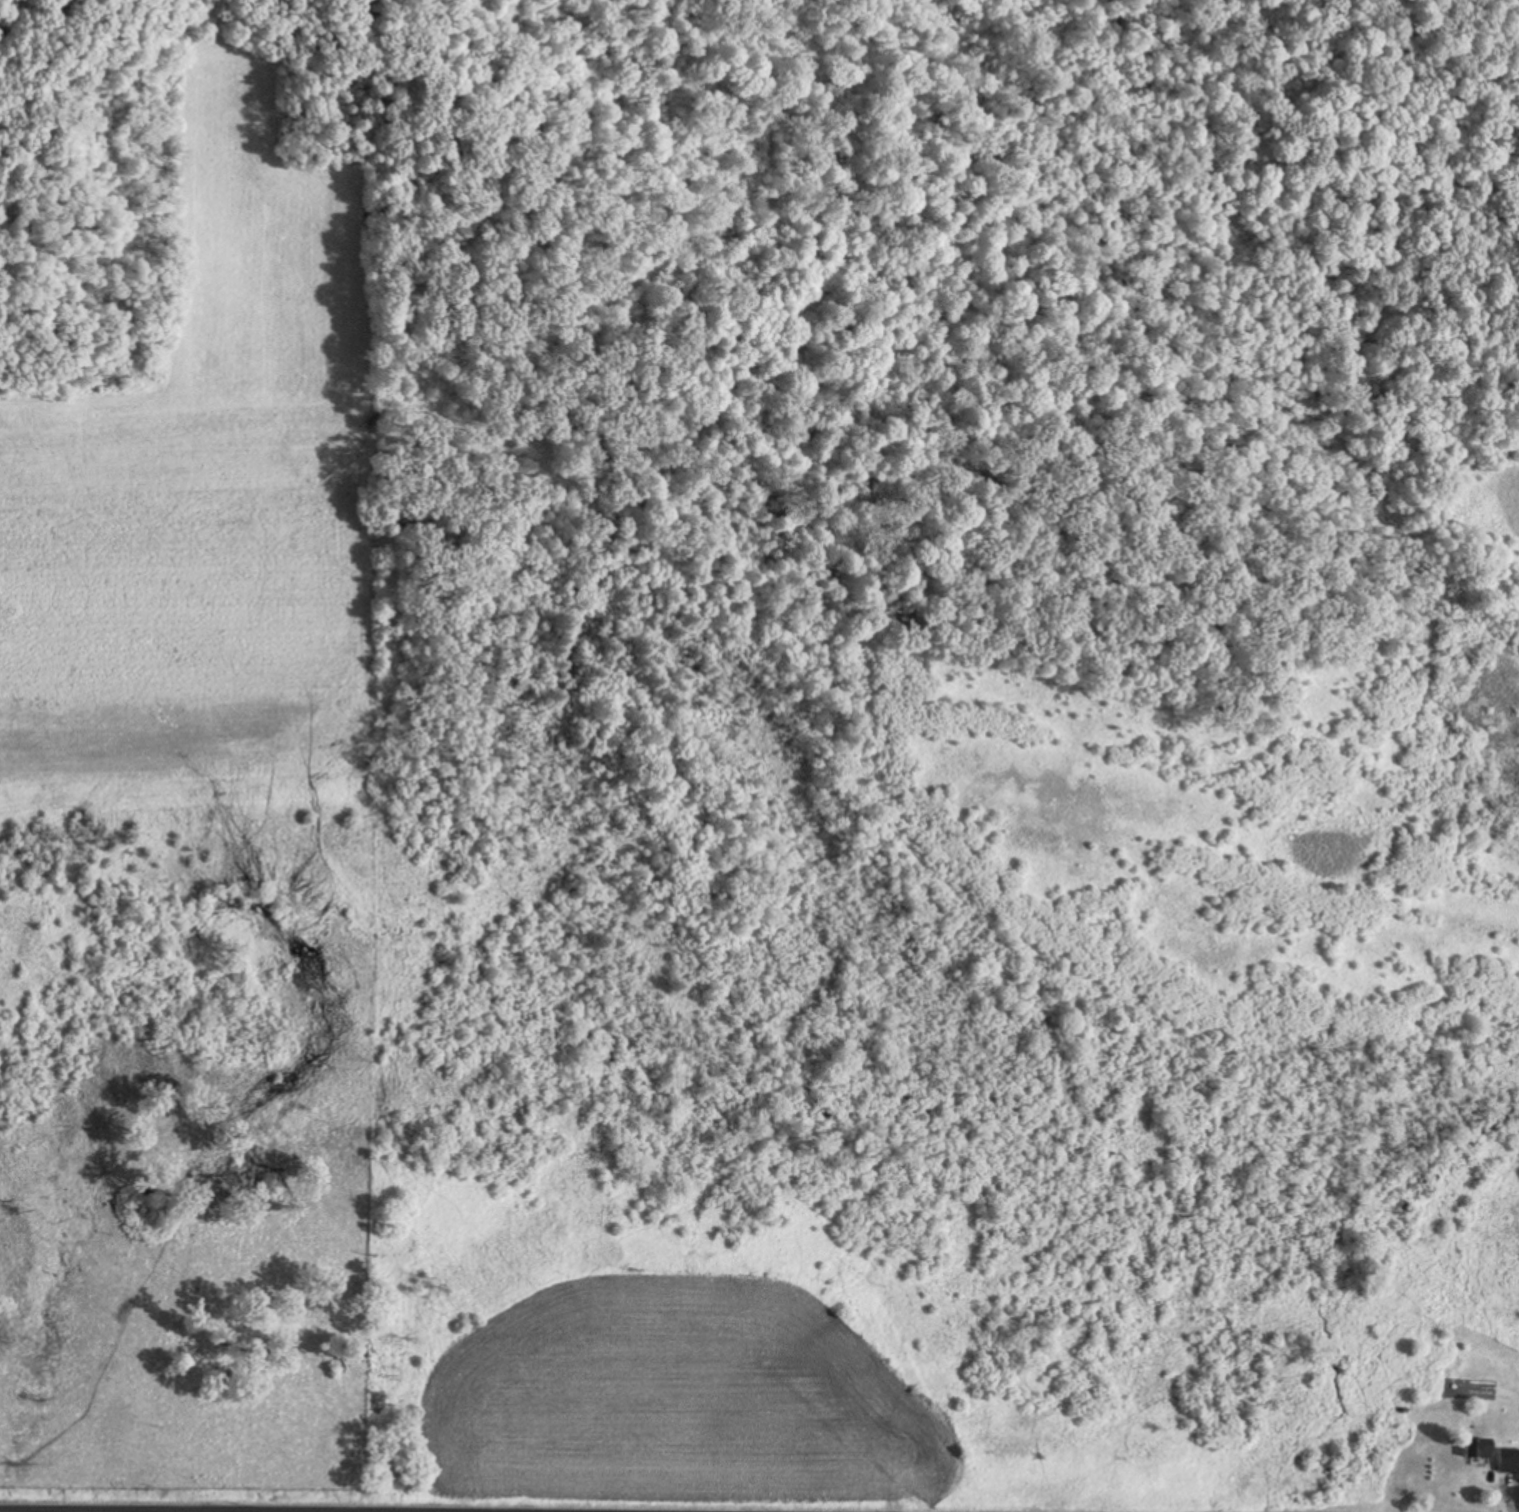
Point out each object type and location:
crop: (211, 484)
crop: (1509, 498)
crop: (683, 1406)
building: (1473, 1449)
building: (1505, 1460)
road: (320, 1508)
road: (205, 1510)
crop: (475, 1510)

